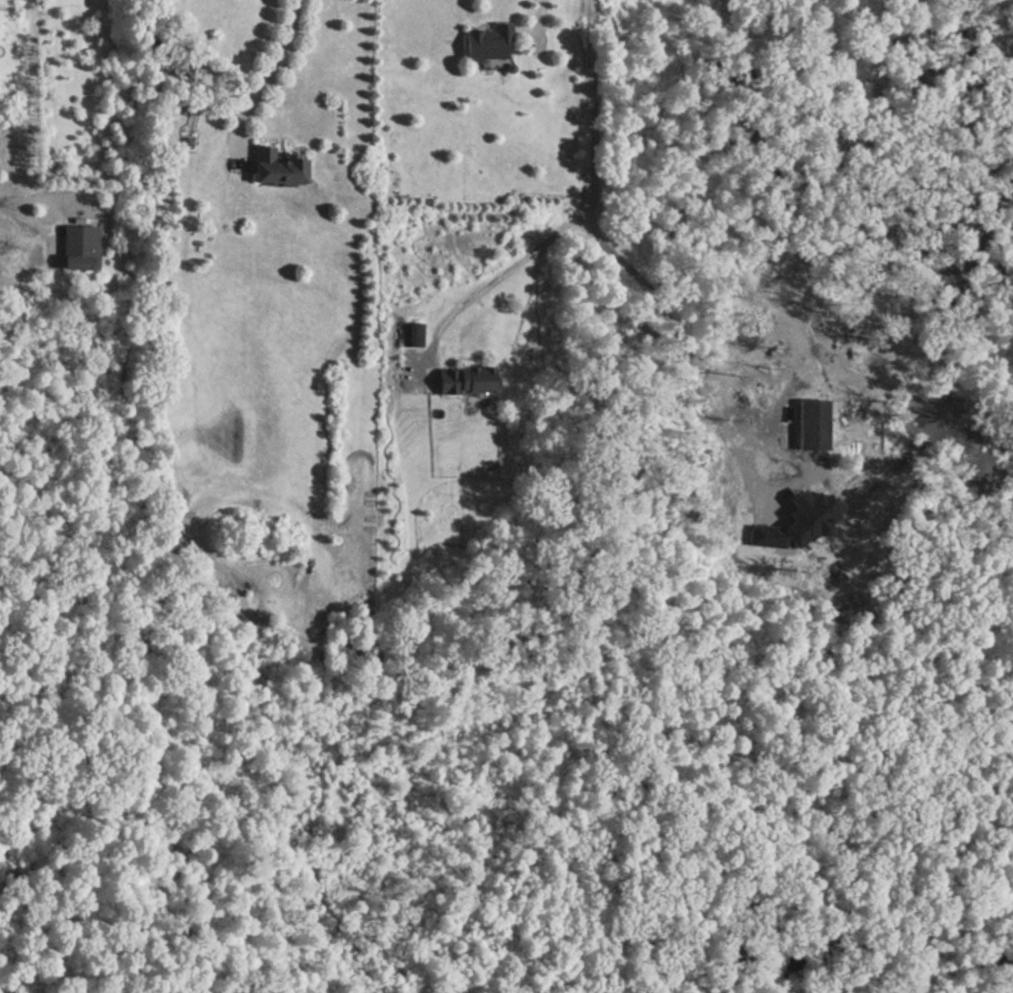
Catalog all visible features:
road: (539, 16)
building: (486, 43)
road: (274, 67)
building: (273, 168)
road: (1, 200)
road: (51, 210)
road: (601, 240)
building: (78, 245)
road: (500, 277)
building: (411, 334)
building: (462, 378)
building: (815, 422)
road: (877, 426)

